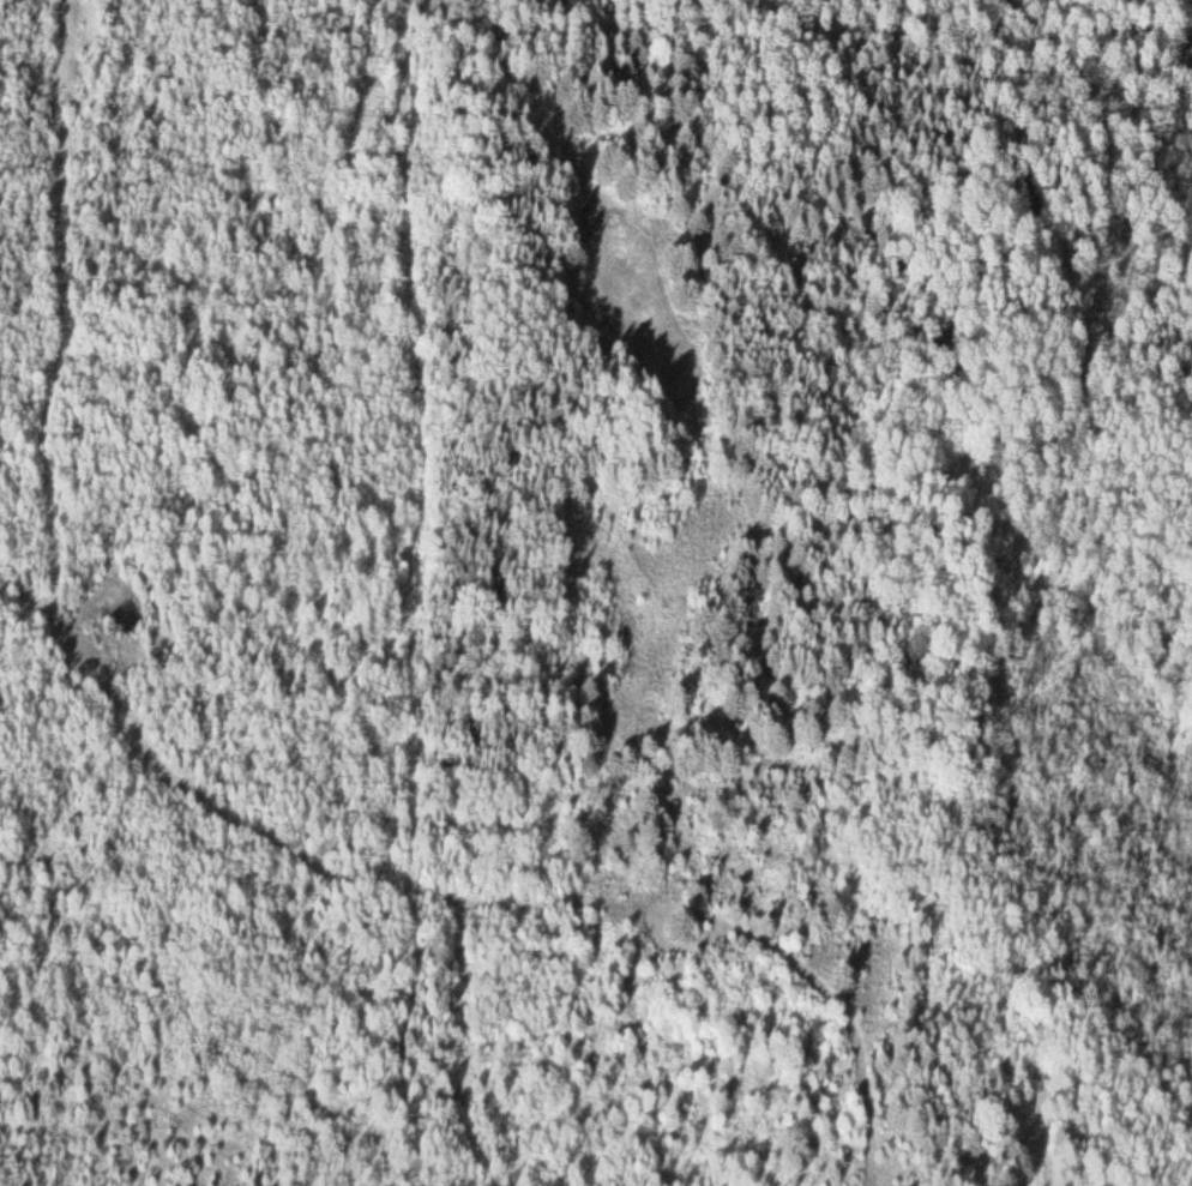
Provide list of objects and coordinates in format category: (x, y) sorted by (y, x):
road: (944, 11)

